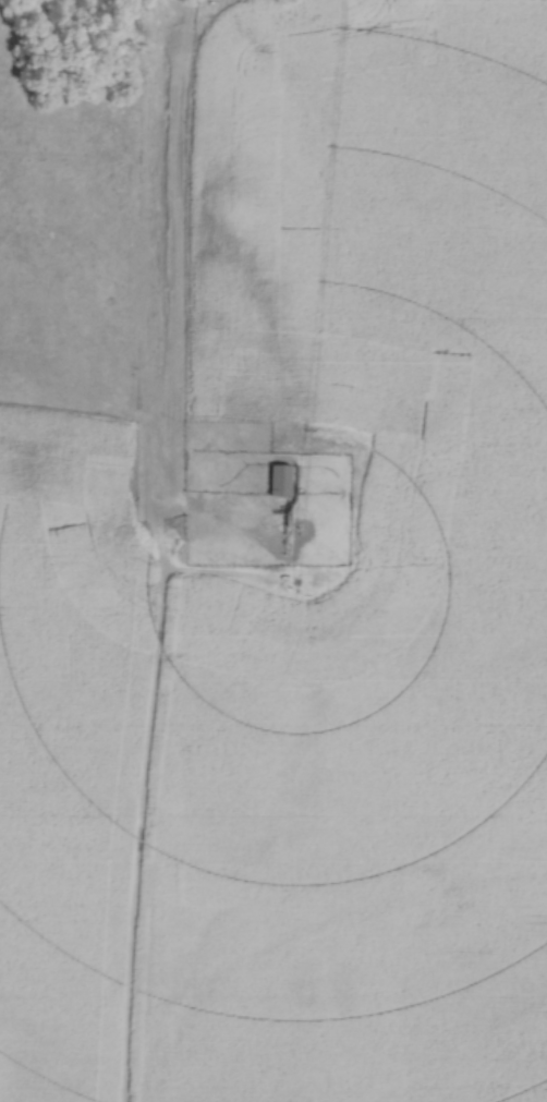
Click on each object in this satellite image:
building: (276, 475)
road: (153, 550)

